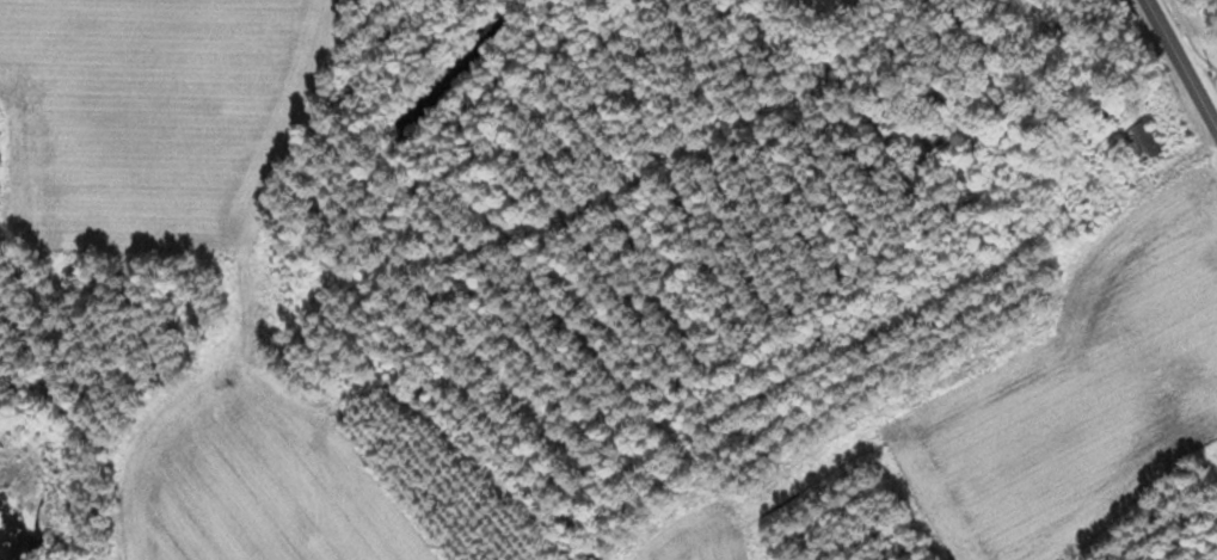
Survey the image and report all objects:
road: (834, 16)
road: (1180, 64)
building: (1144, 143)

